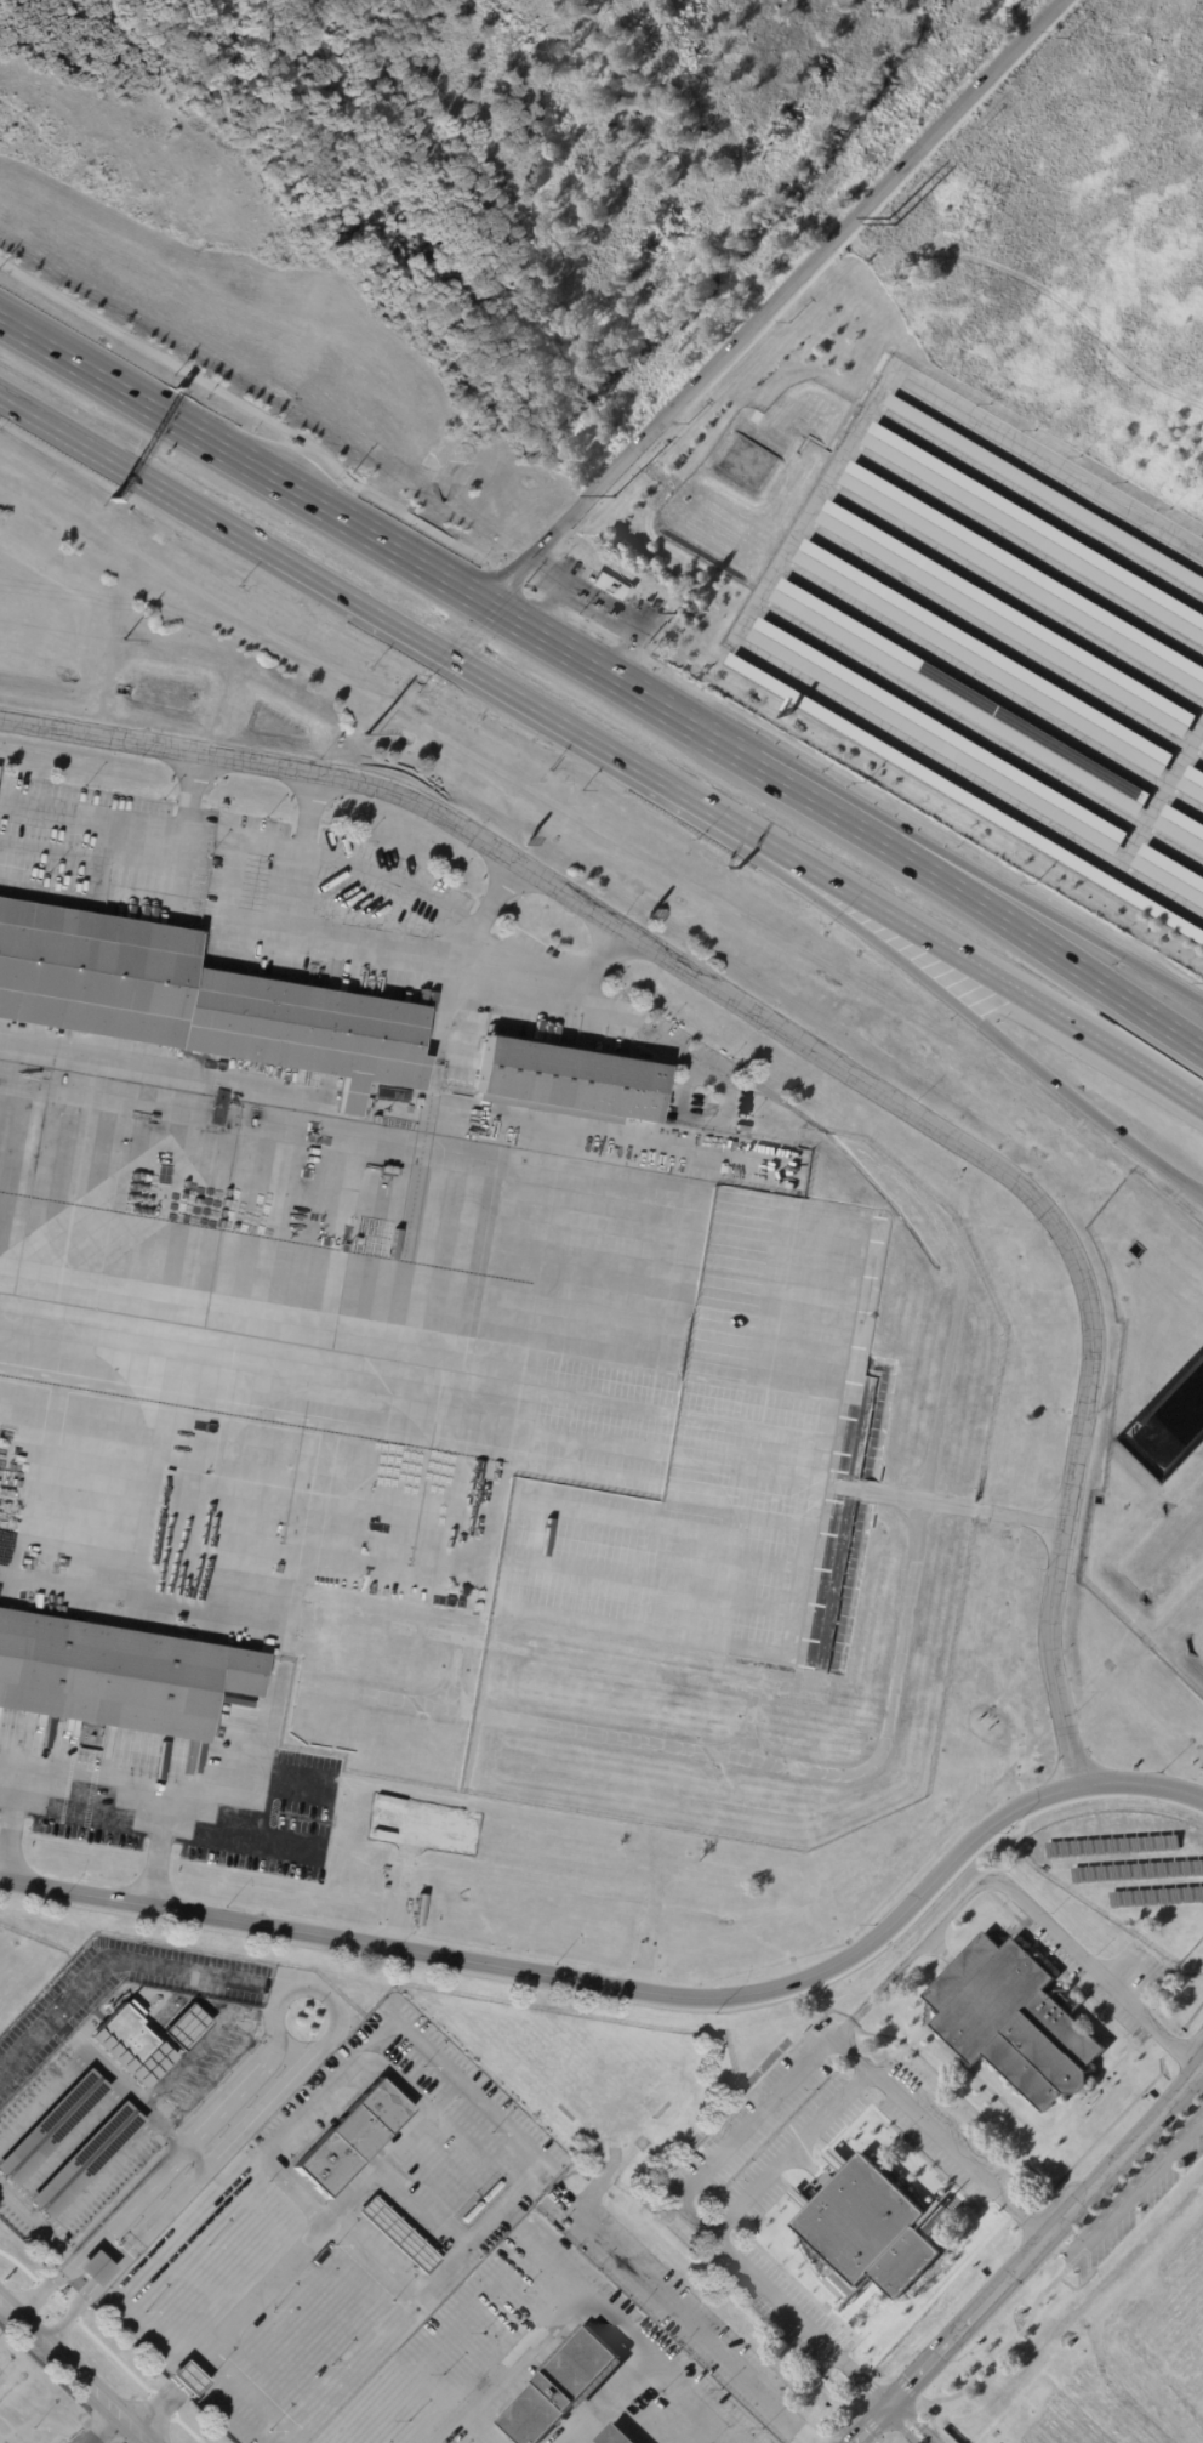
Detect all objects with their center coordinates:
power tower: (895, 226)
road: (766, 302)
road: (84, 370)
road: (258, 414)
road: (137, 476)
building: (1044, 490)
building: (1034, 530)
building: (1022, 575)
gas station: (605, 585)
road: (764, 589)
building: (627, 590)
road: (461, 592)
building: (1007, 618)
power tower: (121, 640)
building: (982, 657)
building: (958, 695)
road: (520, 700)
power tower: (375, 731)
building: (936, 735)
building: (1201, 745)
road: (856, 783)
building: (1192, 783)
building: (967, 797)
road: (822, 808)
building: (1180, 828)
road: (136, 834)
building: (1169, 873)
road: (395, 896)
road: (1051, 916)
road: (1048, 948)
road: (985, 976)
road: (560, 988)
building: (193, 999)
road: (980, 1024)
road: (654, 1035)
road: (808, 1042)
building: (563, 1079)
airport taxiway: (181, 1320)
airport apron: (421, 1363)
airport: (554, 1614)
building: (114, 1672)
road: (92, 1789)
road: (8, 1823)
road: (201, 1830)
road: (120, 1958)
road: (633, 1988)
road: (318, 1993)
building: (1065, 1999)
road: (637, 2001)
building: (1011, 2022)
building: (182, 2027)
building: (130, 2033)
road: (828, 2039)
road: (201, 2041)
road: (381, 2063)
road: (216, 2072)
road: (127, 2092)
road: (42, 2097)
building: (47, 2125)
road: (940, 2135)
building: (349, 2136)
road: (65, 2141)
building: (81, 2159)
road: (146, 2174)
road: (1135, 2186)
road: (78, 2198)
road: (176, 2199)
parking lot: (1141, 2206)
building: (867, 2228)
building: (394, 2234)
road: (50, 2246)
road: (104, 2246)
road: (1056, 2246)
road: (1085, 2251)
road: (1027, 2256)
building: (87, 2267)
road: (1074, 2288)
road: (673, 2305)
road: (583, 2307)
road: (102, 2346)
road: (987, 2360)
road: (76, 2369)
road: (187, 2375)
building: (189, 2376)
road: (433, 2380)
road: (886, 2381)
road: (906, 2386)
building: (559, 2387)
road: (870, 2387)
road: (255, 2396)
road: (922, 2401)
road: (865, 2404)
road: (159, 2407)
road: (922, 2411)
road: (917, 2420)
road: (871, 2424)
road: (908, 2424)
road: (899, 2425)
road: (101, 2426)
road: (479, 2426)
building: (614, 2435)
road: (891, 2435)
road: (897, 2435)
road: (883, 2436)

